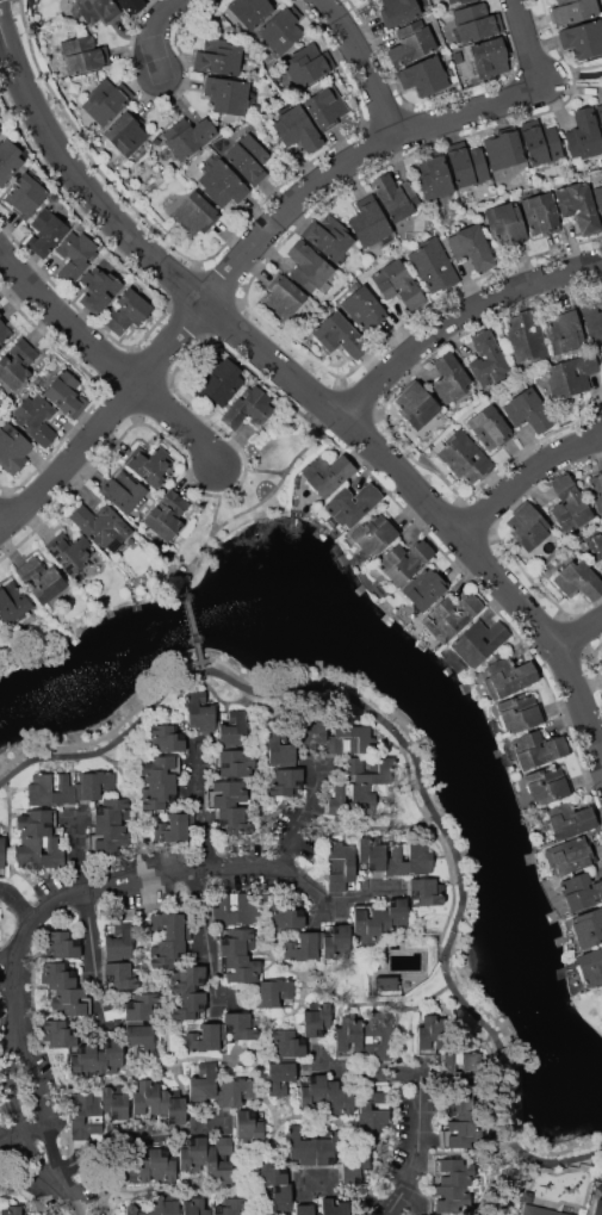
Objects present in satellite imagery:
building: (451, 1)
building: (463, 1)
building: (129, 5)
building: (573, 10)
building: (93, 11)
building: (398, 11)
building: (250, 12)
building: (476, 21)
building: (281, 29)
road: (157, 31)
building: (583, 38)
building: (411, 43)
building: (83, 54)
building: (218, 56)
building: (457, 57)
building: (490, 57)
building: (308, 64)
road: (359, 67)
road: (570, 75)
building: (423, 76)
building: (226, 94)
building: (105, 100)
building: (325, 106)
building: (600, 112)
building: (297, 129)
building: (126, 135)
building: (584, 135)
building: (187, 136)
building: (541, 144)
building: (504, 155)
building: (10, 157)
building: (248, 159)
building: (467, 166)
building: (433, 175)
building: (601, 184)
building: (222, 185)
building: (25, 194)
building: (395, 197)
building: (598, 197)
building: (578, 207)
building: (196, 213)
building: (540, 215)
building: (368, 224)
building: (505, 224)
road: (272, 229)
building: (46, 231)
building: (330, 237)
building: (471, 246)
building: (75, 255)
building: (433, 265)
building: (309, 266)
building: (397, 285)
building: (100, 287)
building: (283, 298)
building: (362, 308)
building: (126, 311)
building: (591, 311)
building: (0, 314)
road: (459, 320)
building: (4, 331)
building: (564, 331)
building: (340, 336)
building: (526, 337)
building: (601, 348)
road: (110, 357)
building: (486, 359)
building: (18, 362)
building: (570, 376)
road: (292, 378)
building: (449, 378)
building: (221, 380)
building: (66, 393)
building: (416, 405)
building: (249, 410)
building: (528, 410)
building: (36, 419)
building: (490, 424)
building: (12, 448)
building: (463, 457)
building: (149, 464)
building: (601, 471)
building: (327, 473)
road: (528, 473)
road: (280, 482)
building: (596, 489)
building: (124, 491)
building: (353, 503)
building: (569, 506)
building: (167, 515)
road: (210, 525)
building: (101, 526)
building: (527, 527)
building: (601, 527)
building: (376, 534)
building: (598, 541)
building: (69, 552)
building: (404, 562)
building: (41, 579)
building: (578, 581)
building: (426, 588)
building: (12, 603)
building: (451, 615)
road: (192, 619)
road: (579, 627)
building: (480, 641)
building: (453, 661)
building: (507, 676)
building: (521, 711)
building: (199, 712)
building: (235, 729)
building: (312, 732)
building: (166, 738)
building: (349, 739)
building: (281, 745)
building: (538, 749)
road: (420, 757)
building: (234, 763)
building: (160, 769)
building: (371, 769)
building: (286, 782)
building: (95, 783)
building: (547, 783)
building: (50, 789)
building: (226, 794)
building: (157, 795)
building: (348, 800)
building: (111, 812)
road: (200, 812)
building: (232, 818)
building: (570, 819)
building: (36, 823)
road: (300, 823)
building: (173, 827)
building: (107, 838)
building: (39, 851)
building: (570, 855)
building: (1, 856)
building: (372, 856)
building: (410, 858)
building: (341, 866)
building: (581, 891)
building: (426, 892)
road: (56, 897)
road: (15, 905)
building: (237, 909)
building: (286, 913)
building: (393, 913)
road: (197, 915)
building: (367, 924)
building: (168, 926)
building: (588, 928)
building: (119, 941)
building: (237, 941)
building: (336, 941)
building: (62, 944)
building: (305, 946)
road: (92, 953)
building: (167, 953)
building: (238, 967)
building: (590, 967)
building: (58, 974)
building: (120, 975)
building: (188, 979)
road: (8, 981)
building: (274, 992)
building: (72, 1000)
building: (190, 1005)
building: (142, 1006)
building: (316, 1017)
building: (241, 1025)
building: (58, 1033)
building: (432, 1034)
building: (205, 1037)
building: (347, 1037)
building: (376, 1039)
building: (141, 1041)
building: (287, 1041)
building: (110, 1056)
building: (83, 1059)
building: (461, 1068)
building: (279, 1077)
building: (203, 1080)
building: (234, 1092)
building: (314, 1092)
building: (340, 1097)
building: (372, 1097)
road: (422, 1097)
building: (148, 1099)
building: (113, 1105)
building: (463, 1105)
building: (85, 1108)
building: (175, 1109)
building: (373, 1121)
building: (249, 1126)
building: (461, 1134)
road: (130, 1136)
road: (15, 1140)
building: (317, 1146)
building: (192, 1153)
building: (219, 1161)
building: (163, 1164)
building: (358, 1168)
building: (138, 1170)
building: (268, 1172)
building: (453, 1172)
building: (600, 1176)
road: (513, 1179)
road: (352, 1194)
building: (449, 1198)
building: (277, 1199)
building: (166, 1203)
building: (194, 1205)
building: (232, 1207)
building: (336, 1207)
building: (10, 1209)
building: (304, 1209)
building: (600, 1209)
building: (134, 1210)
building: (545, 1210)

